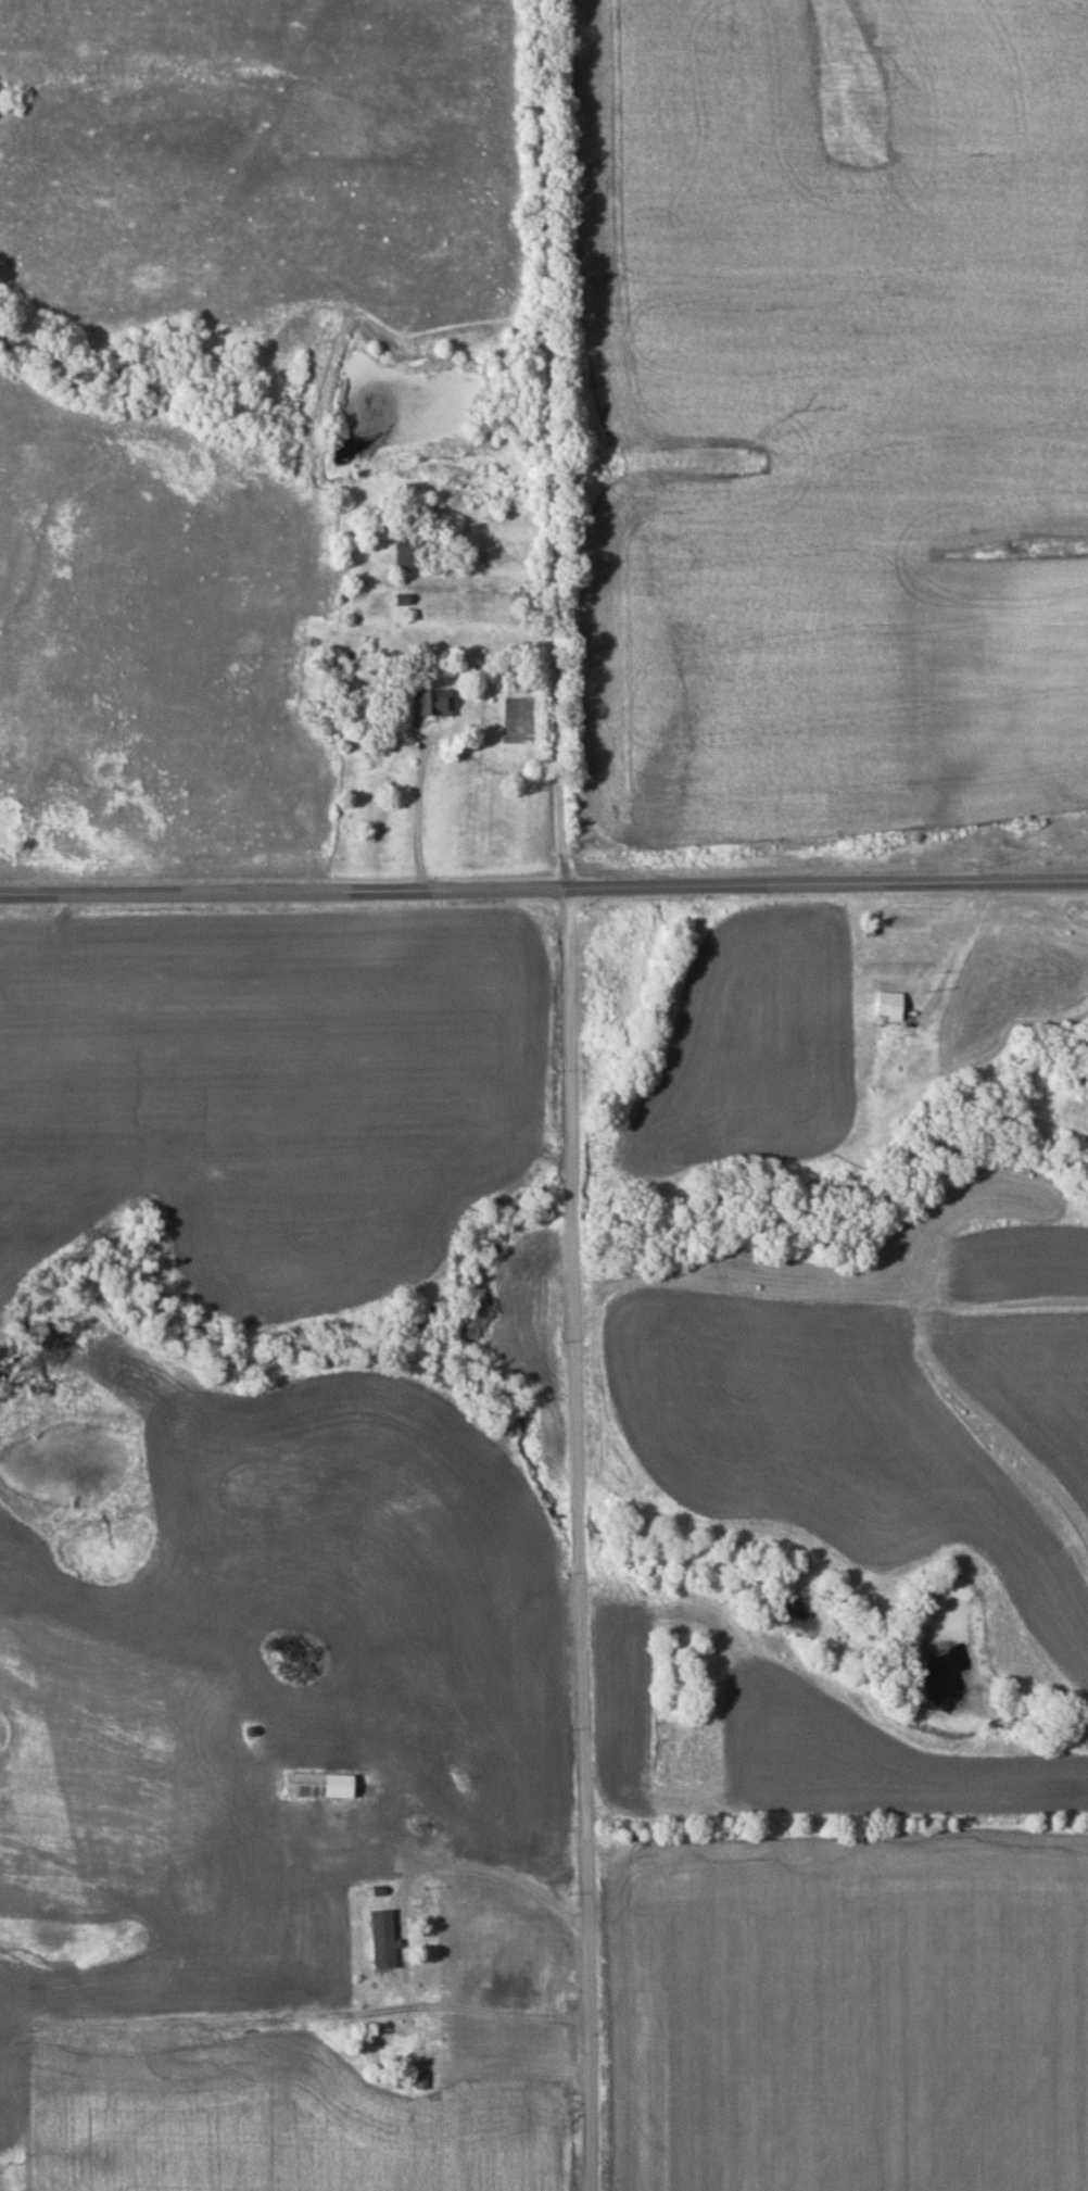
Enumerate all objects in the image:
building: (410, 556)
road: (551, 616)
building: (432, 703)
road: (417, 817)
road: (544, 893)
road: (580, 1541)
building: (319, 1786)
building: (425, 1826)
road: (480, 1874)
building: (383, 1939)
road: (523, 2026)
building: (391, 2058)

